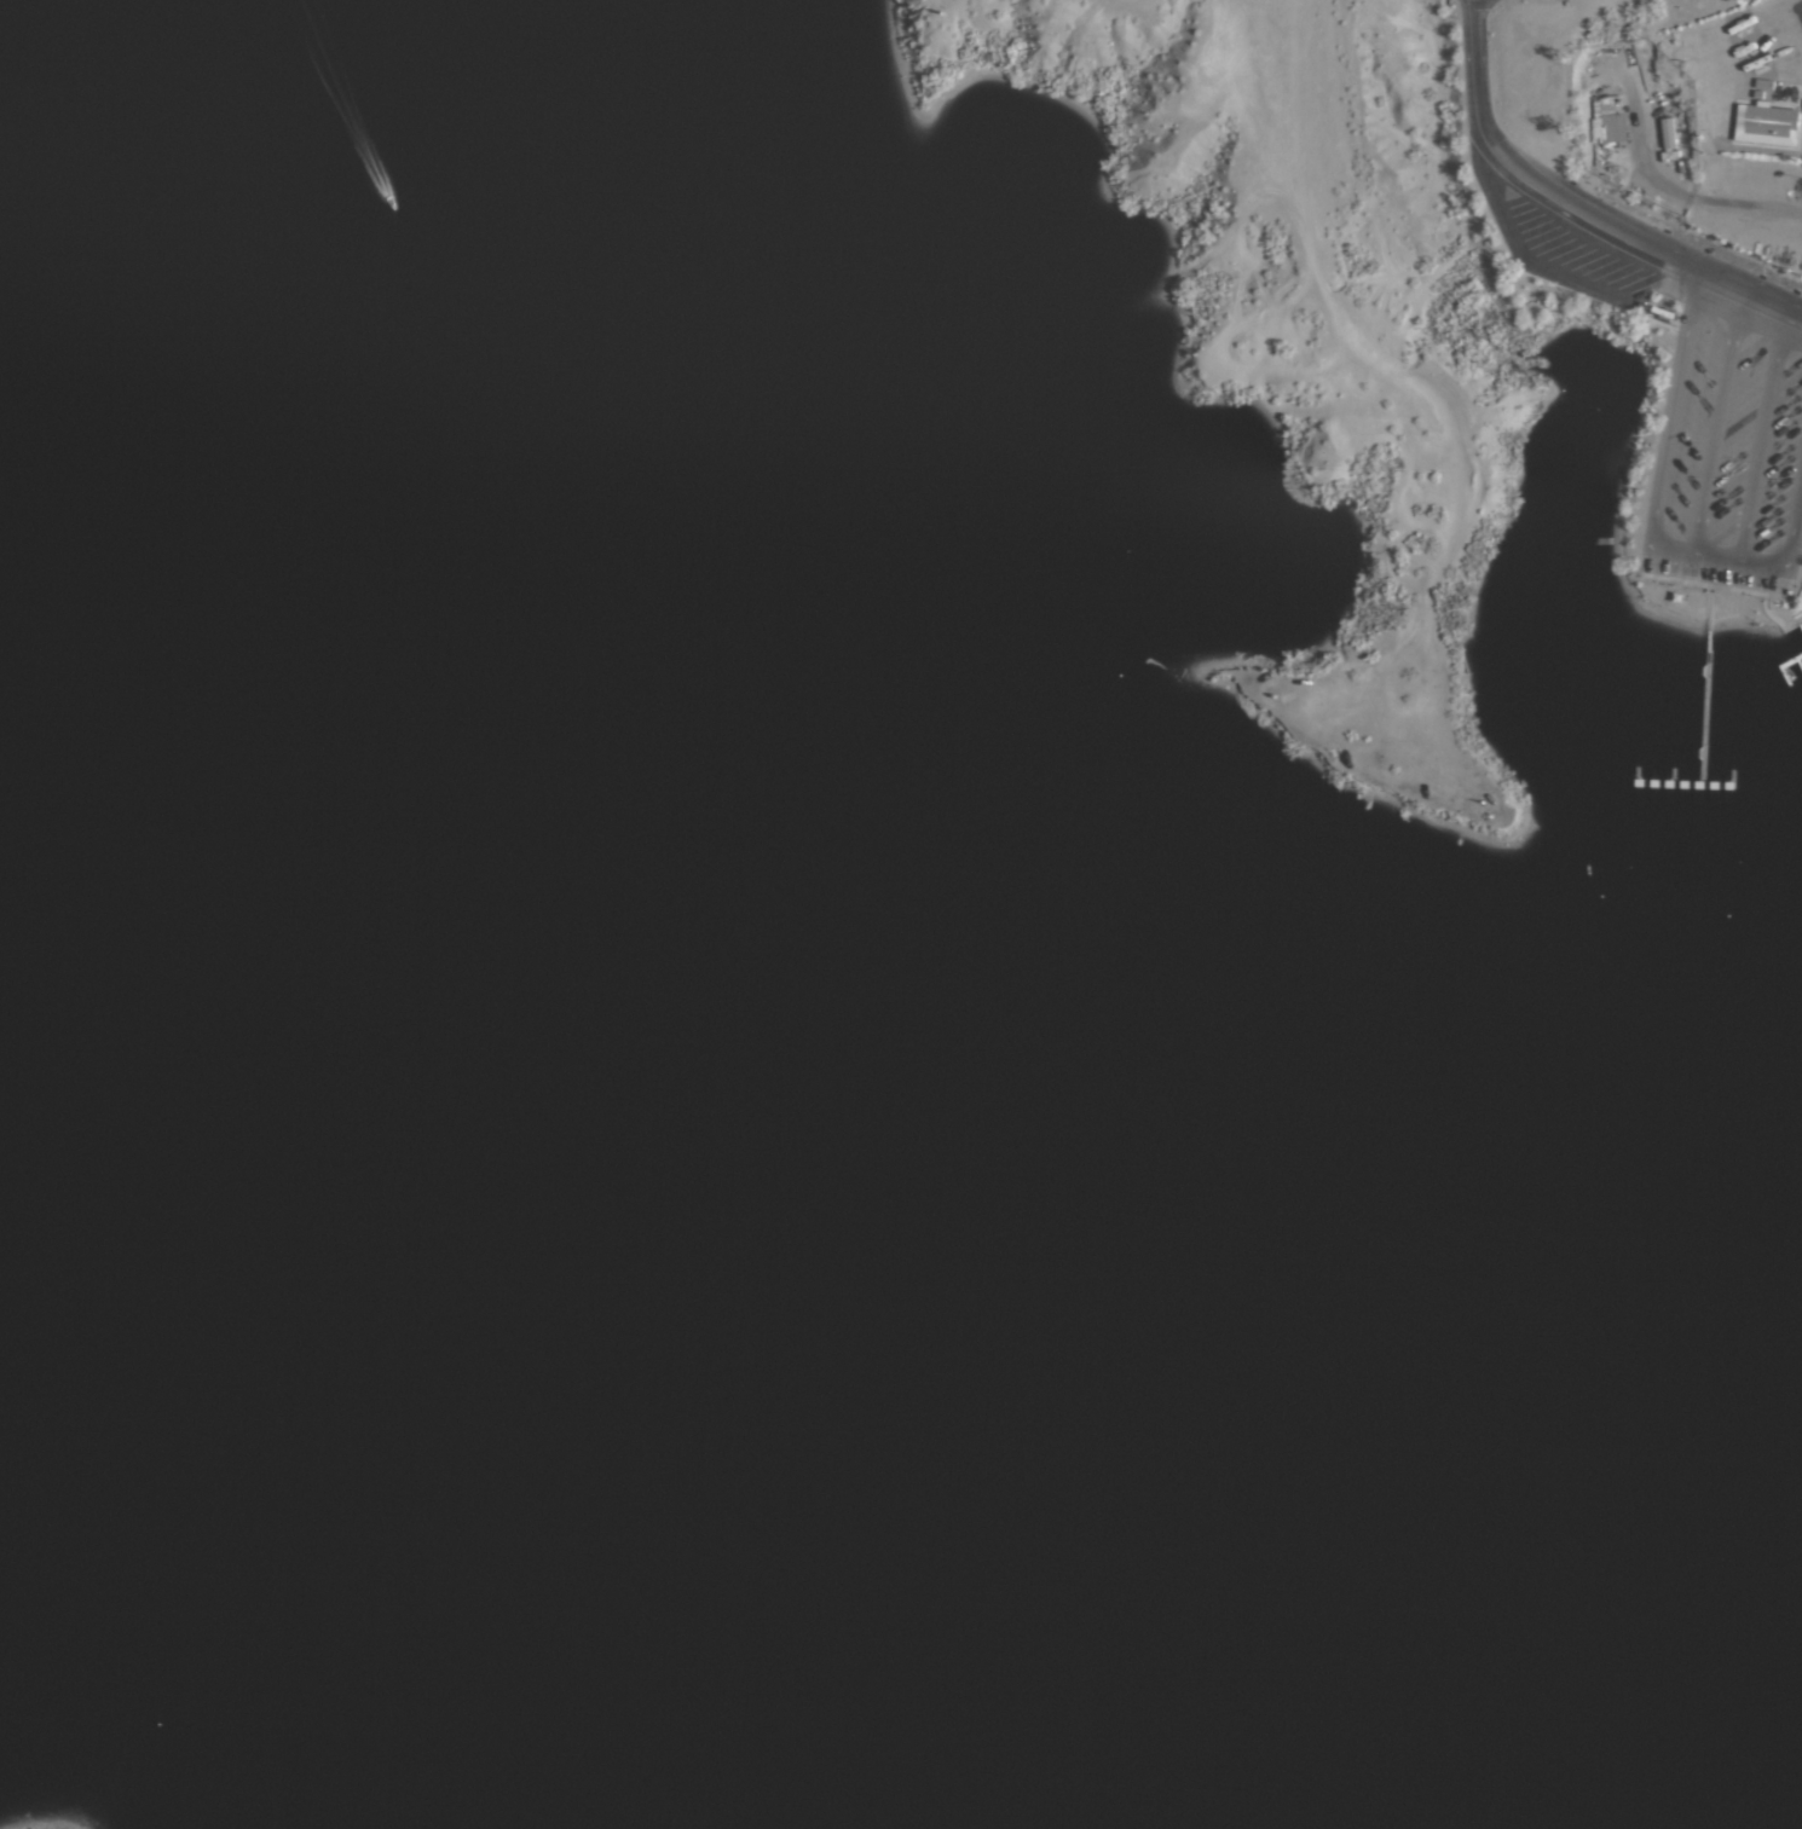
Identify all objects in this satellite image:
road: (1658, 184)
road: (1572, 209)
road: (1721, 422)
road: (1765, 435)
parking lot: (1729, 457)
road: (1657, 513)
pier: (1800, 661)
pier: (1783, 666)
pier: (1709, 706)
pier: (1692, 785)
river: (728, 1354)
river: (1665, 1511)

